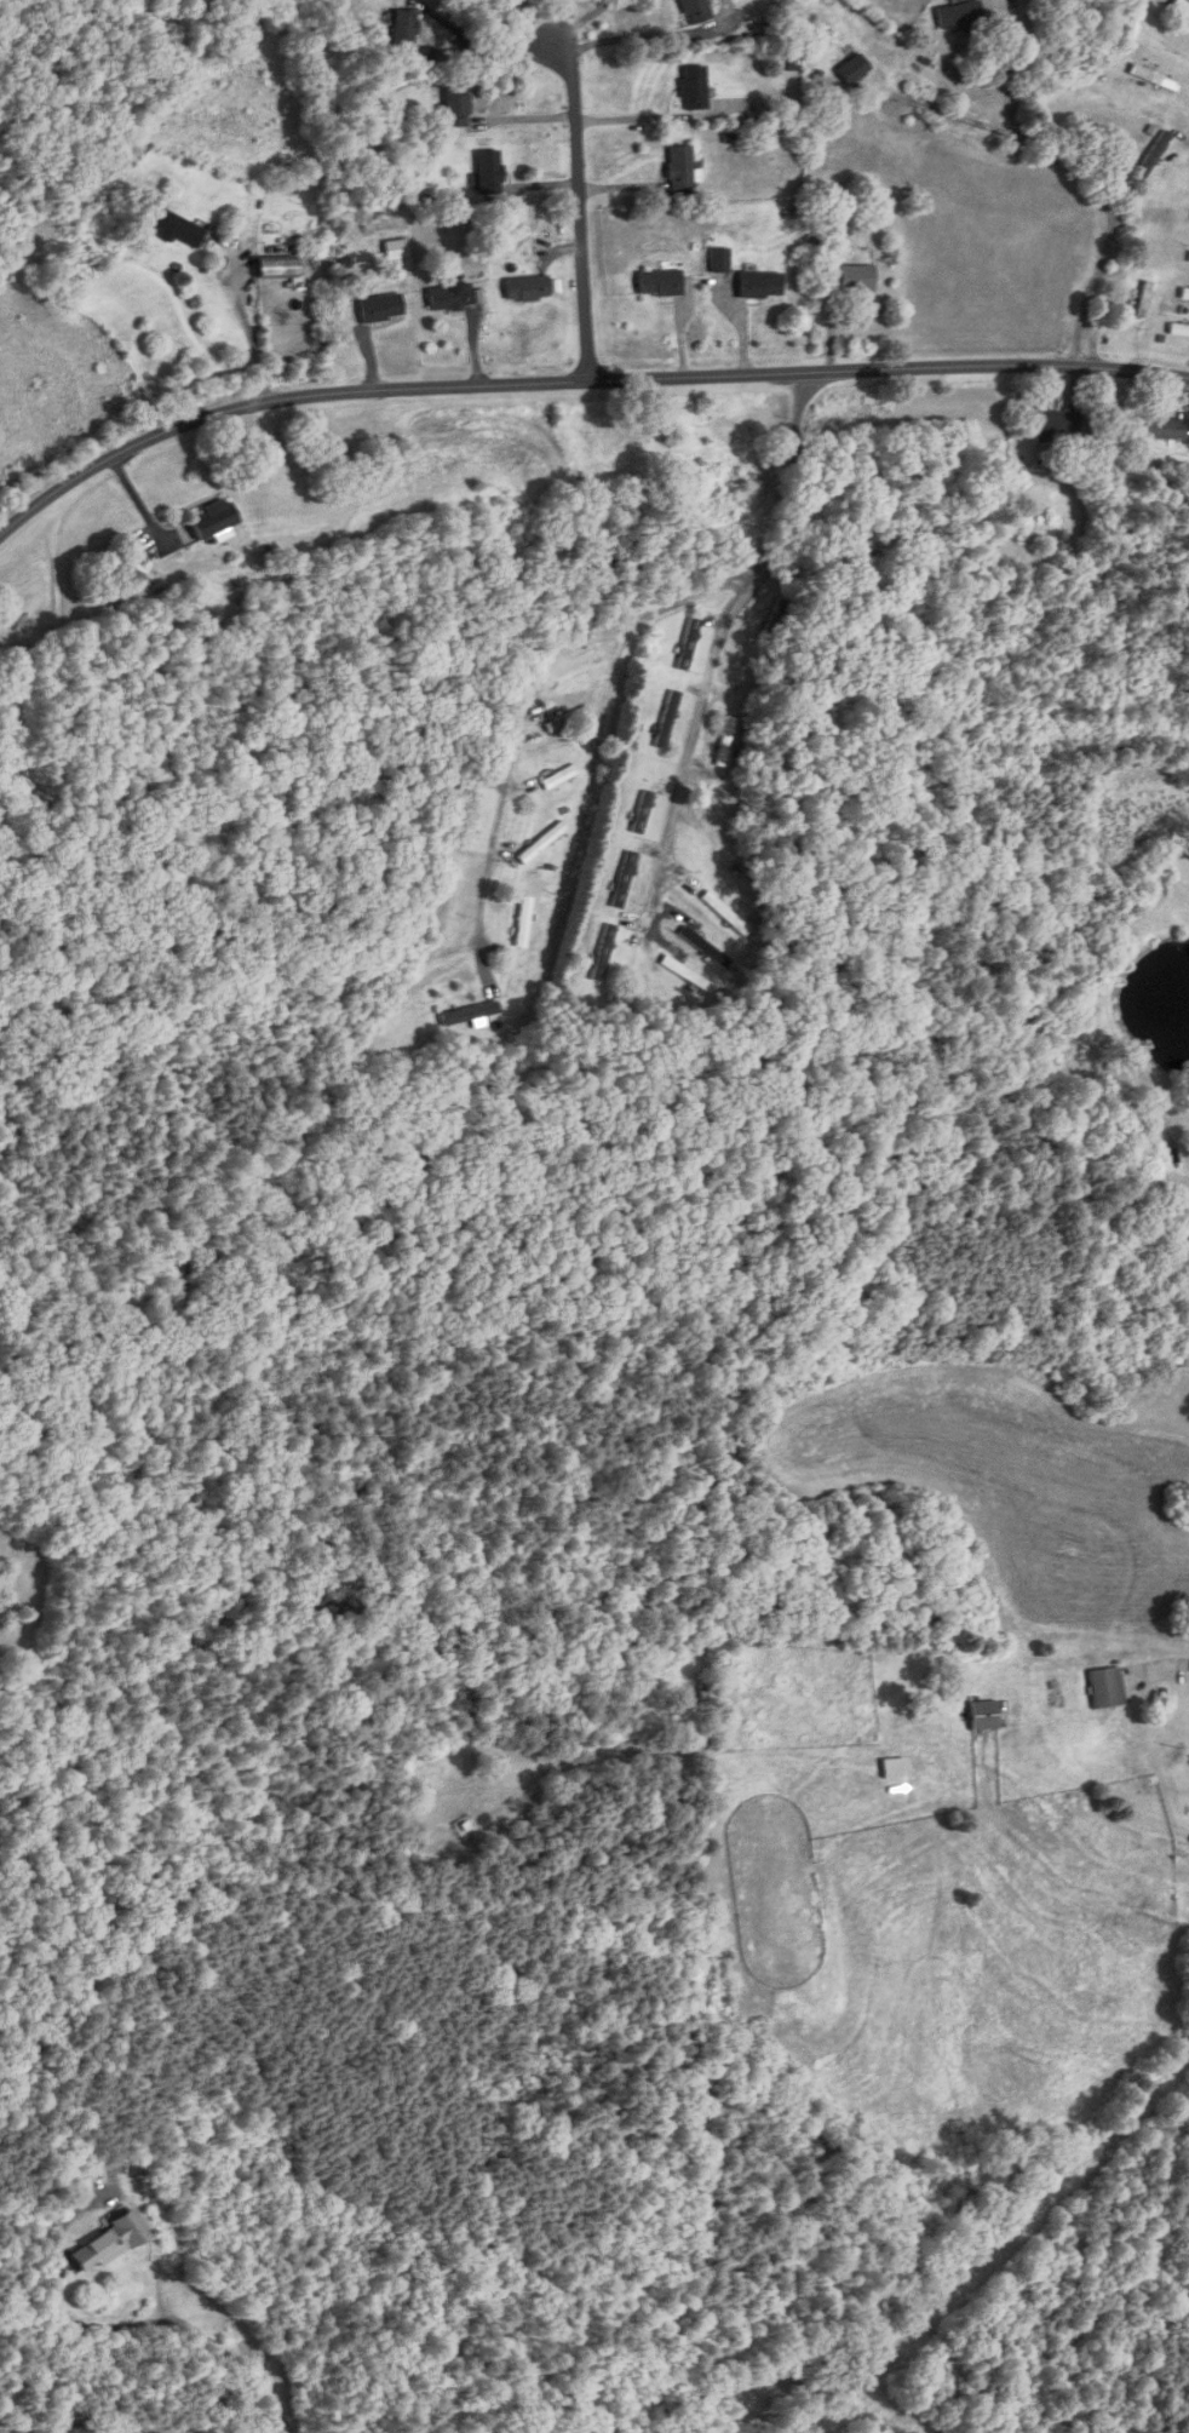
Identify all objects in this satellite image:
building: (1181, 7)
building: (695, 11)
building: (959, 15)
building: (404, 27)
road: (493, 40)
building: (852, 70)
building: (1154, 78)
building: (694, 88)
building: (456, 105)
road: (967, 119)
building: (1150, 160)
building: (680, 168)
road: (1086, 171)
building: (489, 173)
road: (586, 194)
building: (177, 229)
building: (719, 260)
building: (274, 268)
building: (855, 277)
building: (659, 283)
building: (759, 285)
building: (525, 289)
building: (1184, 293)
building: (449, 298)
building: (1144, 299)
building: (379, 309)
building: (1178, 329)
road: (248, 333)
road: (576, 381)
building: (1057, 423)
building: (1165, 428)
building: (214, 521)
road: (714, 636)
building: (689, 643)
road: (522, 682)
building: (567, 719)
building: (667, 719)
building: (725, 741)
building: (559, 777)
building: (642, 813)
building: (472, 814)
building: (541, 843)
building: (624, 880)
building: (724, 913)
building: (523, 922)
building: (603, 953)
building: (456, 1010)
road: (1161, 1668)
building: (1107, 1688)
building: (983, 1716)
building: (894, 1768)
building: (109, 2242)
road: (223, 2351)

